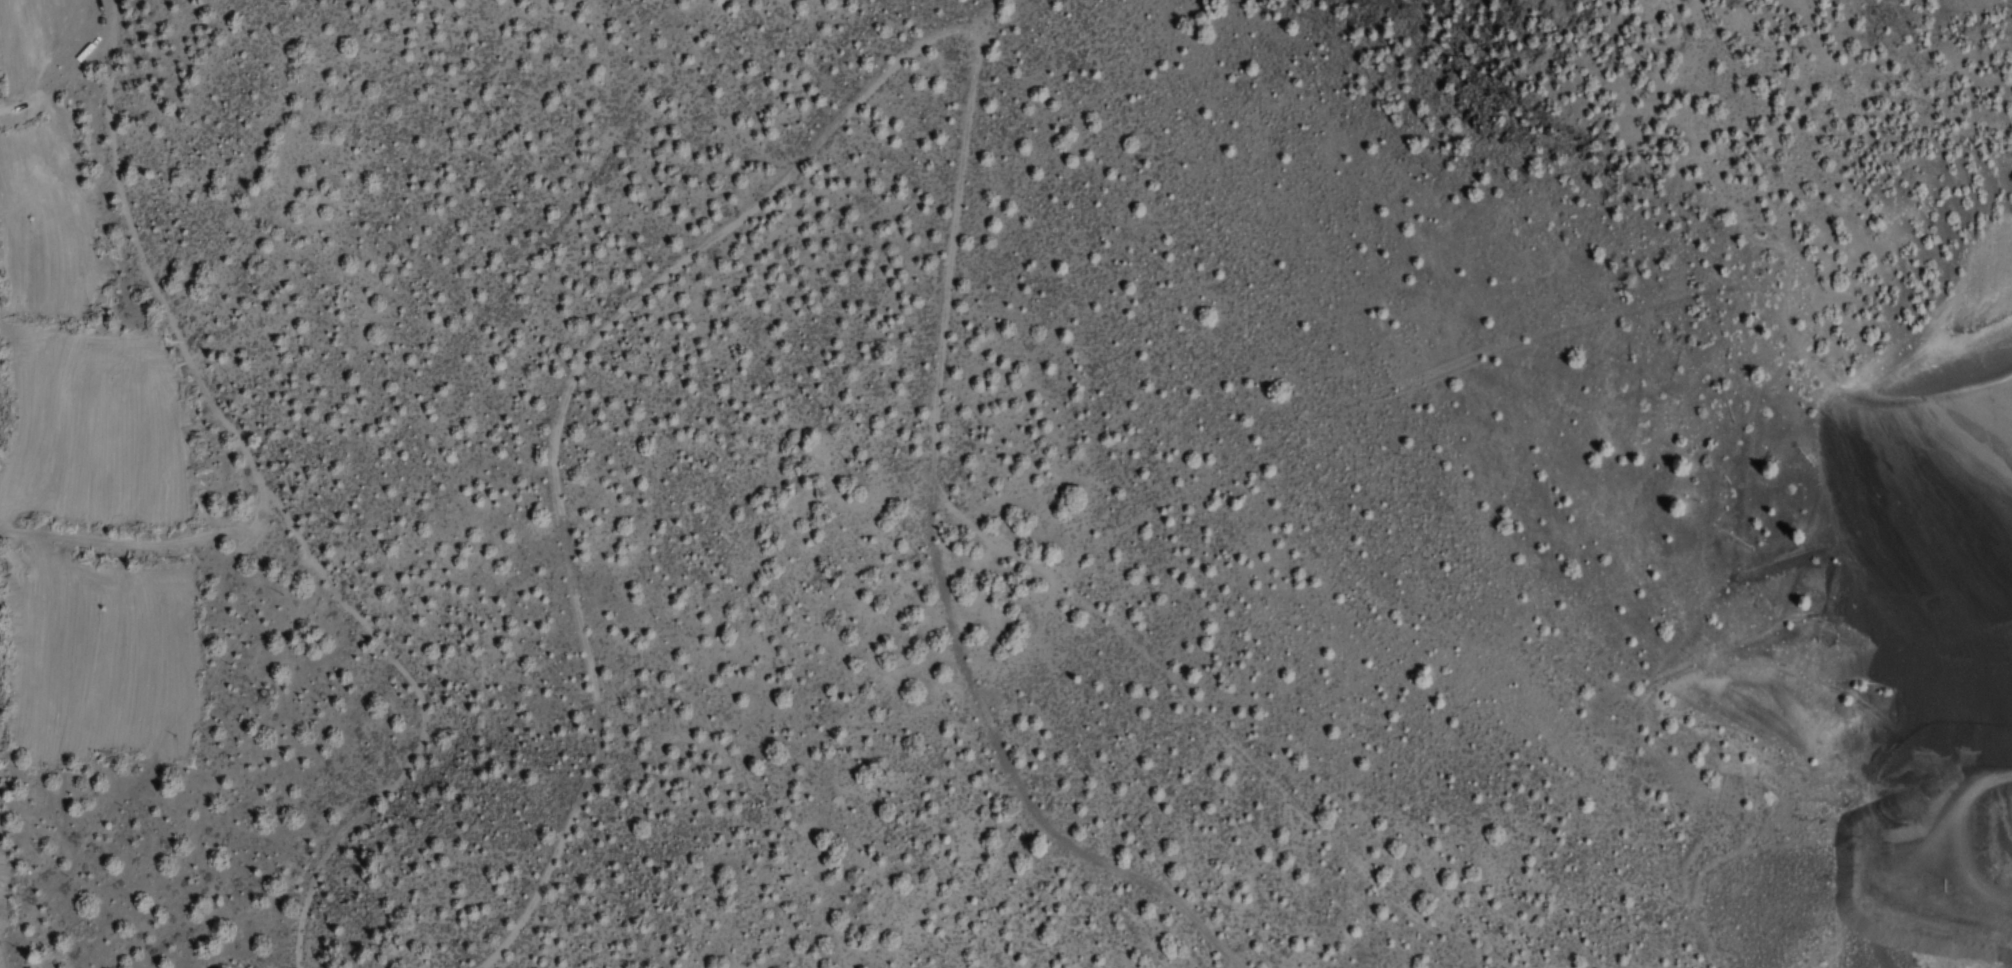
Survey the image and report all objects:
quarry: (1908, 656)

